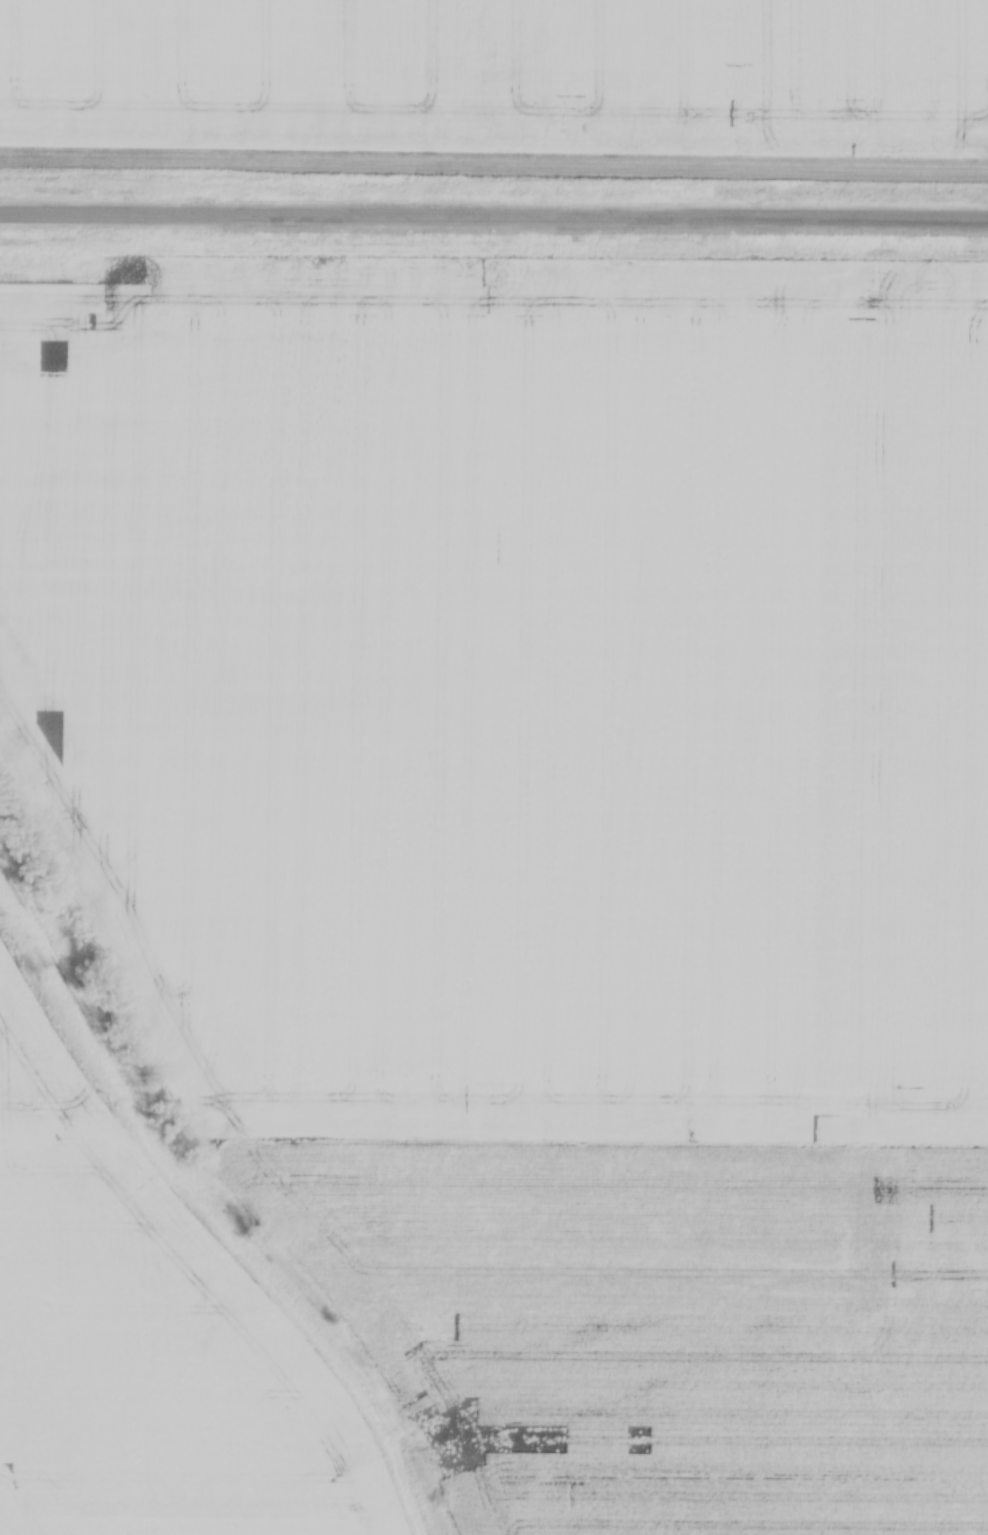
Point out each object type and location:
road: (494, 217)

